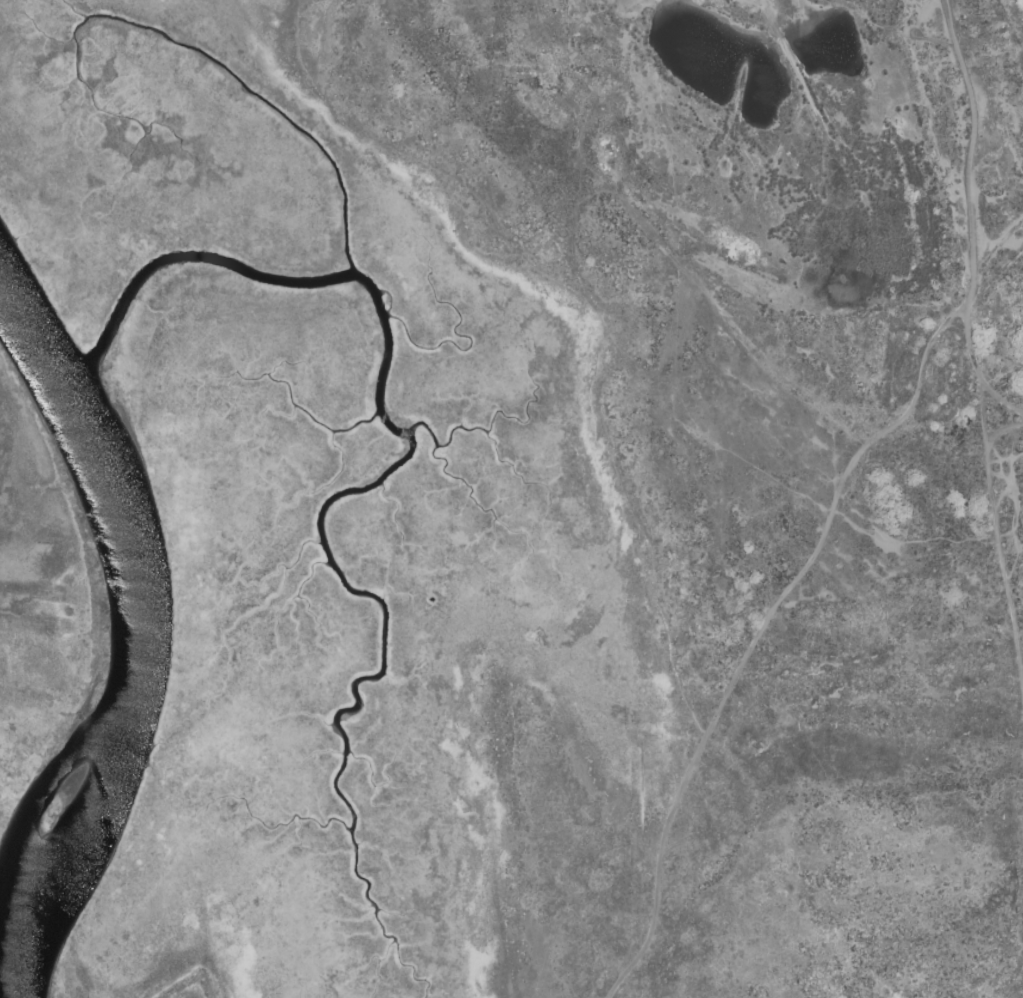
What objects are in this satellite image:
road: (969, 193)
road: (1000, 404)
road: (984, 416)
road: (1004, 431)
road: (1003, 559)
road: (763, 636)
river: (140, 643)

